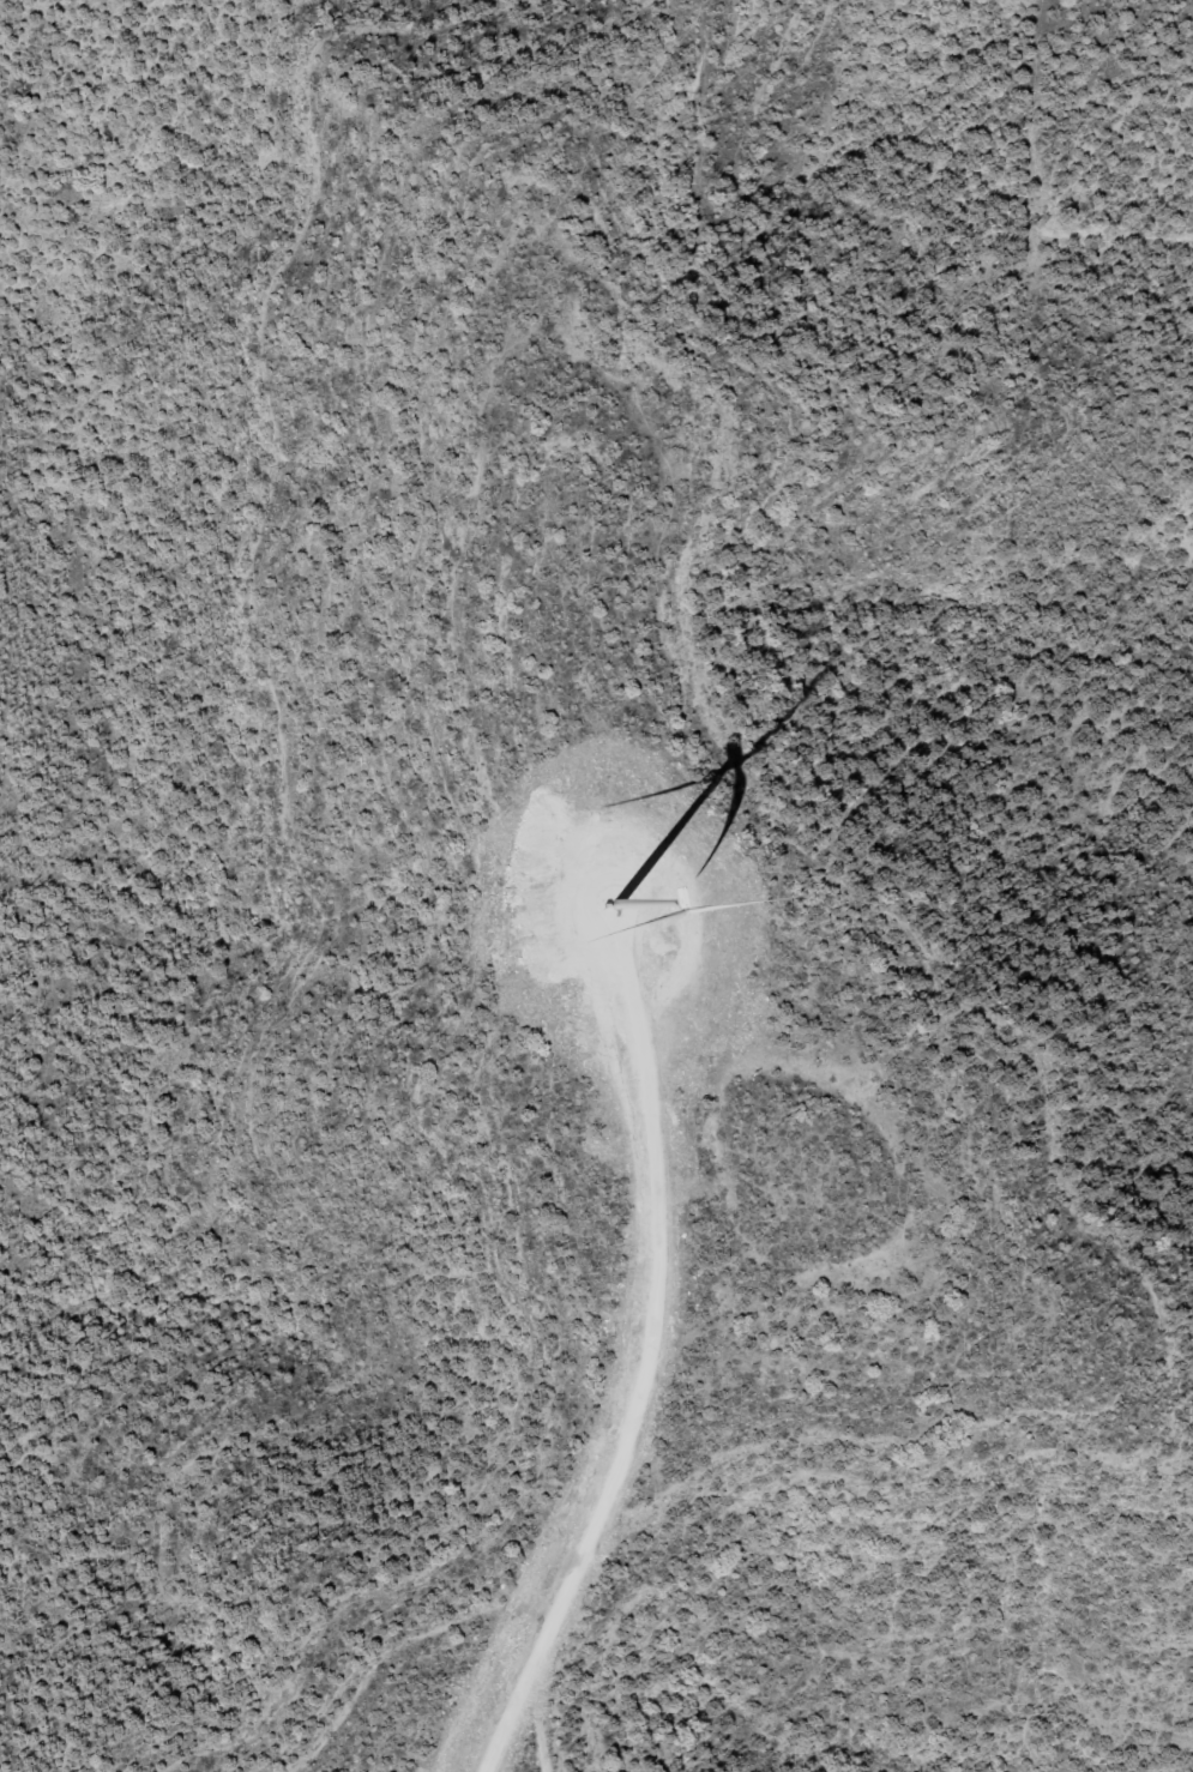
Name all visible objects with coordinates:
wind turbine: (620, 898)

